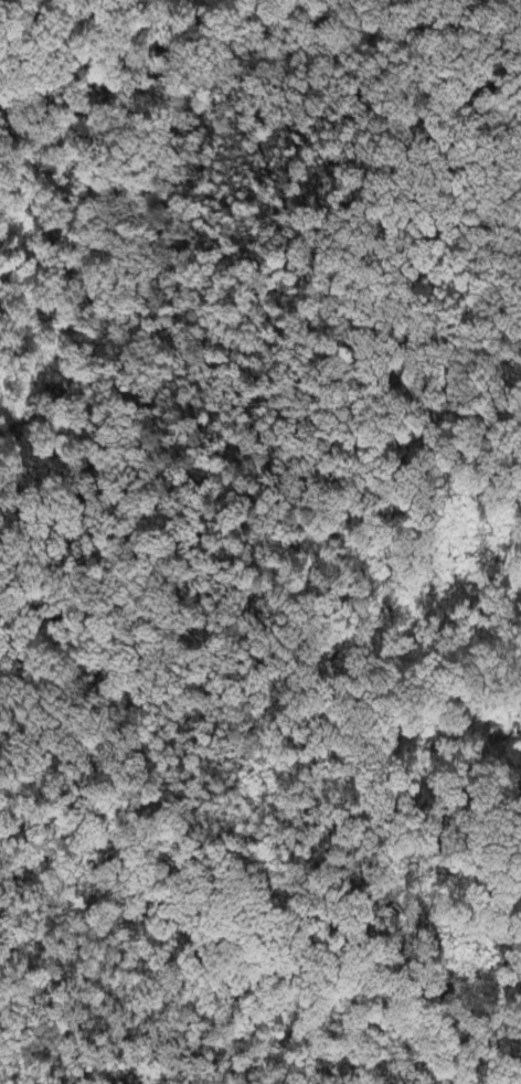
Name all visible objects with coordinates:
park: (260, 542)
road: (141, 1027)

